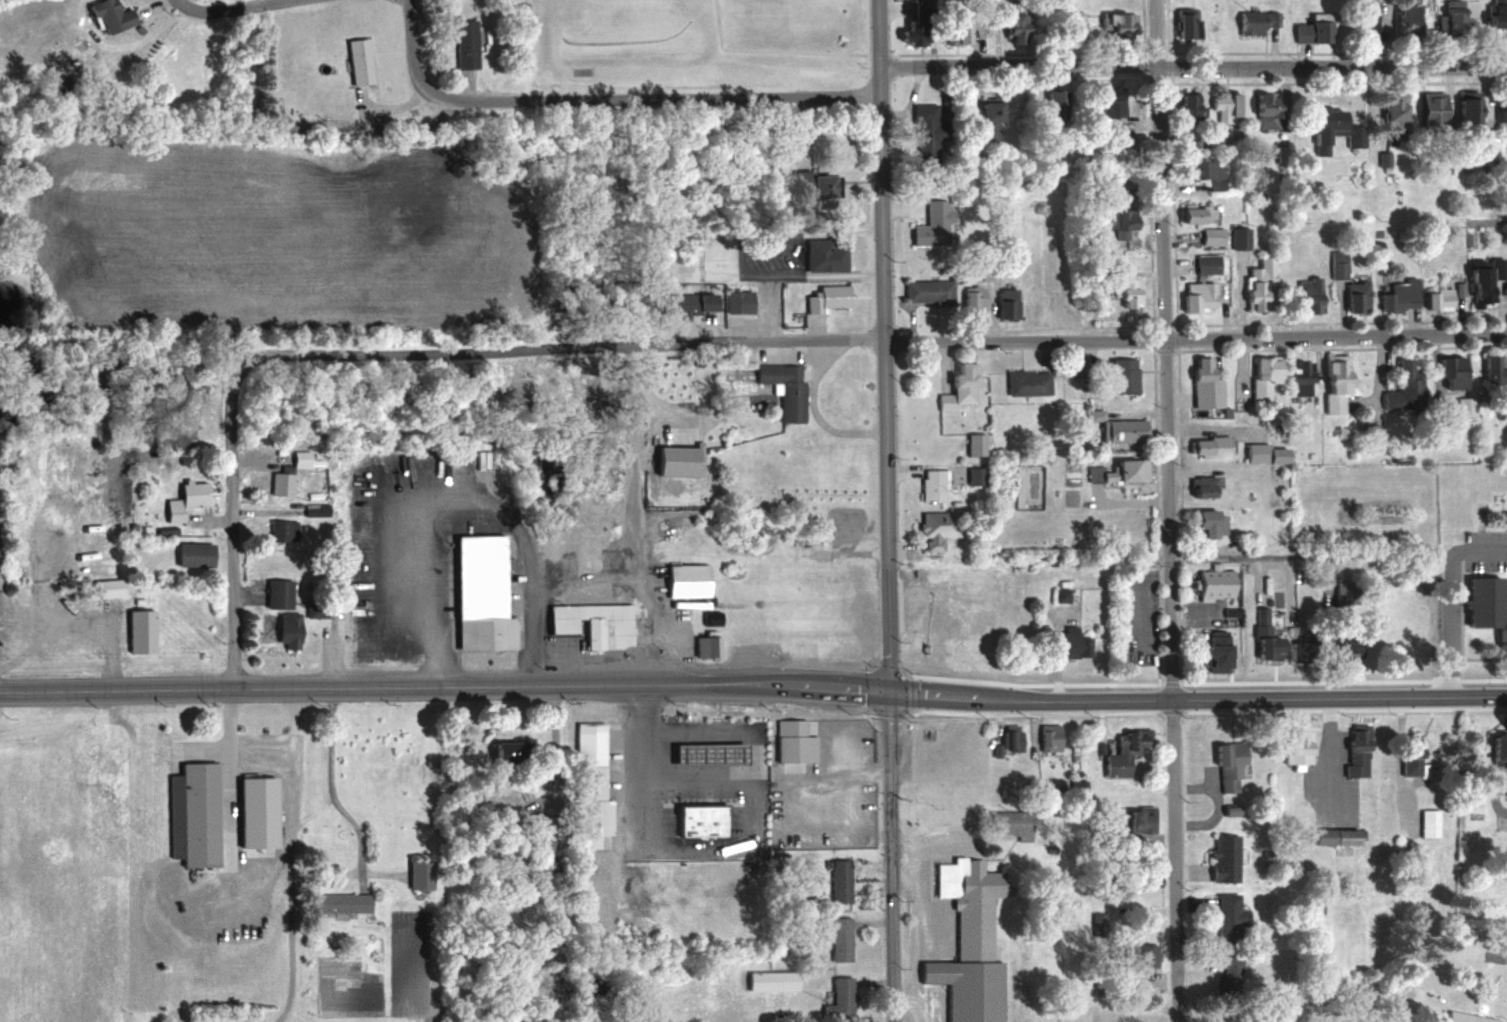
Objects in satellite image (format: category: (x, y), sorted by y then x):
road: (151, 4)
road: (232, 11)
building: (106, 13)
building: (1449, 17)
building: (1492, 17)
building: (1402, 19)
building: (1074, 21)
building: (1249, 22)
road: (408, 26)
building: (1114, 26)
building: (1363, 27)
building: (136, 28)
building: (1007, 28)
building: (1178, 29)
road: (1154, 31)
building: (1305, 31)
road: (877, 33)
building: (958, 33)
building: (906, 36)
building: (80, 40)
building: (462, 41)
road: (767, 51)
building: (355, 59)
road: (1192, 63)
road: (467, 87)
road: (629, 98)
building: (1104, 101)
building: (1049, 104)
building: (1181, 104)
road: (385, 105)
building: (1221, 105)
building: (1462, 107)
building: (1388, 108)
building: (1424, 108)
building: (1261, 110)
building: (980, 119)
building: (923, 128)
building: (1500, 128)
building: (1328, 130)
building: (1196, 170)
building: (813, 185)
building: (903, 209)
building: (1182, 216)
building: (1109, 224)
building: (1208, 237)
building: (1237, 237)
road: (780, 238)
building: (823, 255)
building: (1204, 264)
road: (794, 270)
building: (1479, 279)
building: (1257, 286)
building: (927, 292)
building: (1120, 294)
building: (1306, 295)
building: (1397, 295)
building: (1194, 297)
building: (824, 299)
building: (1435, 299)
building: (970, 300)
building: (742, 302)
building: (1351, 302)
building: (1006, 303)
building: (699, 305)
road: (1131, 340)
road: (495, 347)
building: (1296, 373)
building: (1448, 373)
building: (1492, 375)
building: (1118, 376)
building: (1260, 377)
road: (884, 382)
building: (1026, 382)
building: (961, 383)
building: (1328, 384)
building: (1200, 385)
building: (785, 388)
building: (1400, 388)
road: (816, 414)
building: (1113, 429)
building: (975, 445)
building: (1204, 448)
building: (1261, 452)
building: (1114, 472)
building: (975, 476)
building: (931, 486)
building: (1199, 487)
building: (190, 500)
building: (1063, 506)
road: (464, 508)
building: (845, 522)
building: (1204, 524)
road: (232, 526)
building: (936, 529)
building: (287, 531)
road: (1169, 542)
building: (198, 555)
road: (1311, 557)
road: (626, 576)
building: (848, 576)
building: (691, 581)
building: (1210, 584)
building: (112, 588)
building: (483, 588)
building: (283, 594)
building: (1059, 595)
road: (1442, 597)
building: (936, 608)
building: (1483, 609)
building: (319, 611)
building: (597, 624)
building: (145, 631)
building: (293, 631)
building: (1259, 638)
building: (1072, 643)
building: (1338, 646)
building: (708, 647)
building: (1210, 653)
road: (444, 683)
traffic signals: (889, 698)
road: (1197, 699)
road: (556, 735)
building: (1049, 737)
building: (1008, 739)
building: (799, 743)
building: (1494, 745)
building: (594, 747)
building: (1292, 748)
building: (1351, 750)
building: (145, 751)
building: (1123, 751)
road: (1330, 752)
building: (514, 754)
building: (705, 754)
gas station: (705, 754)
building: (1403, 754)
road: (1399, 763)
building: (1223, 765)
road: (617, 768)
road: (855, 773)
building: (1077, 788)
building: (256, 810)
building: (1226, 811)
building: (193, 813)
building: (1136, 819)
building: (708, 822)
building: (596, 823)
building: (1424, 823)
building: (1011, 824)
building: (839, 826)
building: (1334, 836)
building: (1506, 839)
road: (731, 847)
building: (1222, 857)
road: (893, 859)
building: (424, 876)
building: (1148, 876)
building: (843, 882)
road: (254, 886)
building: (346, 904)
building: (1311, 904)
building: (1227, 916)
building: (1096, 919)
road: (920, 930)
building: (843, 940)
building: (969, 943)
building: (1143, 956)
building: (1227, 973)
building: (773, 981)
building: (1144, 986)
building: (838, 998)
building: (1463, 1018)

